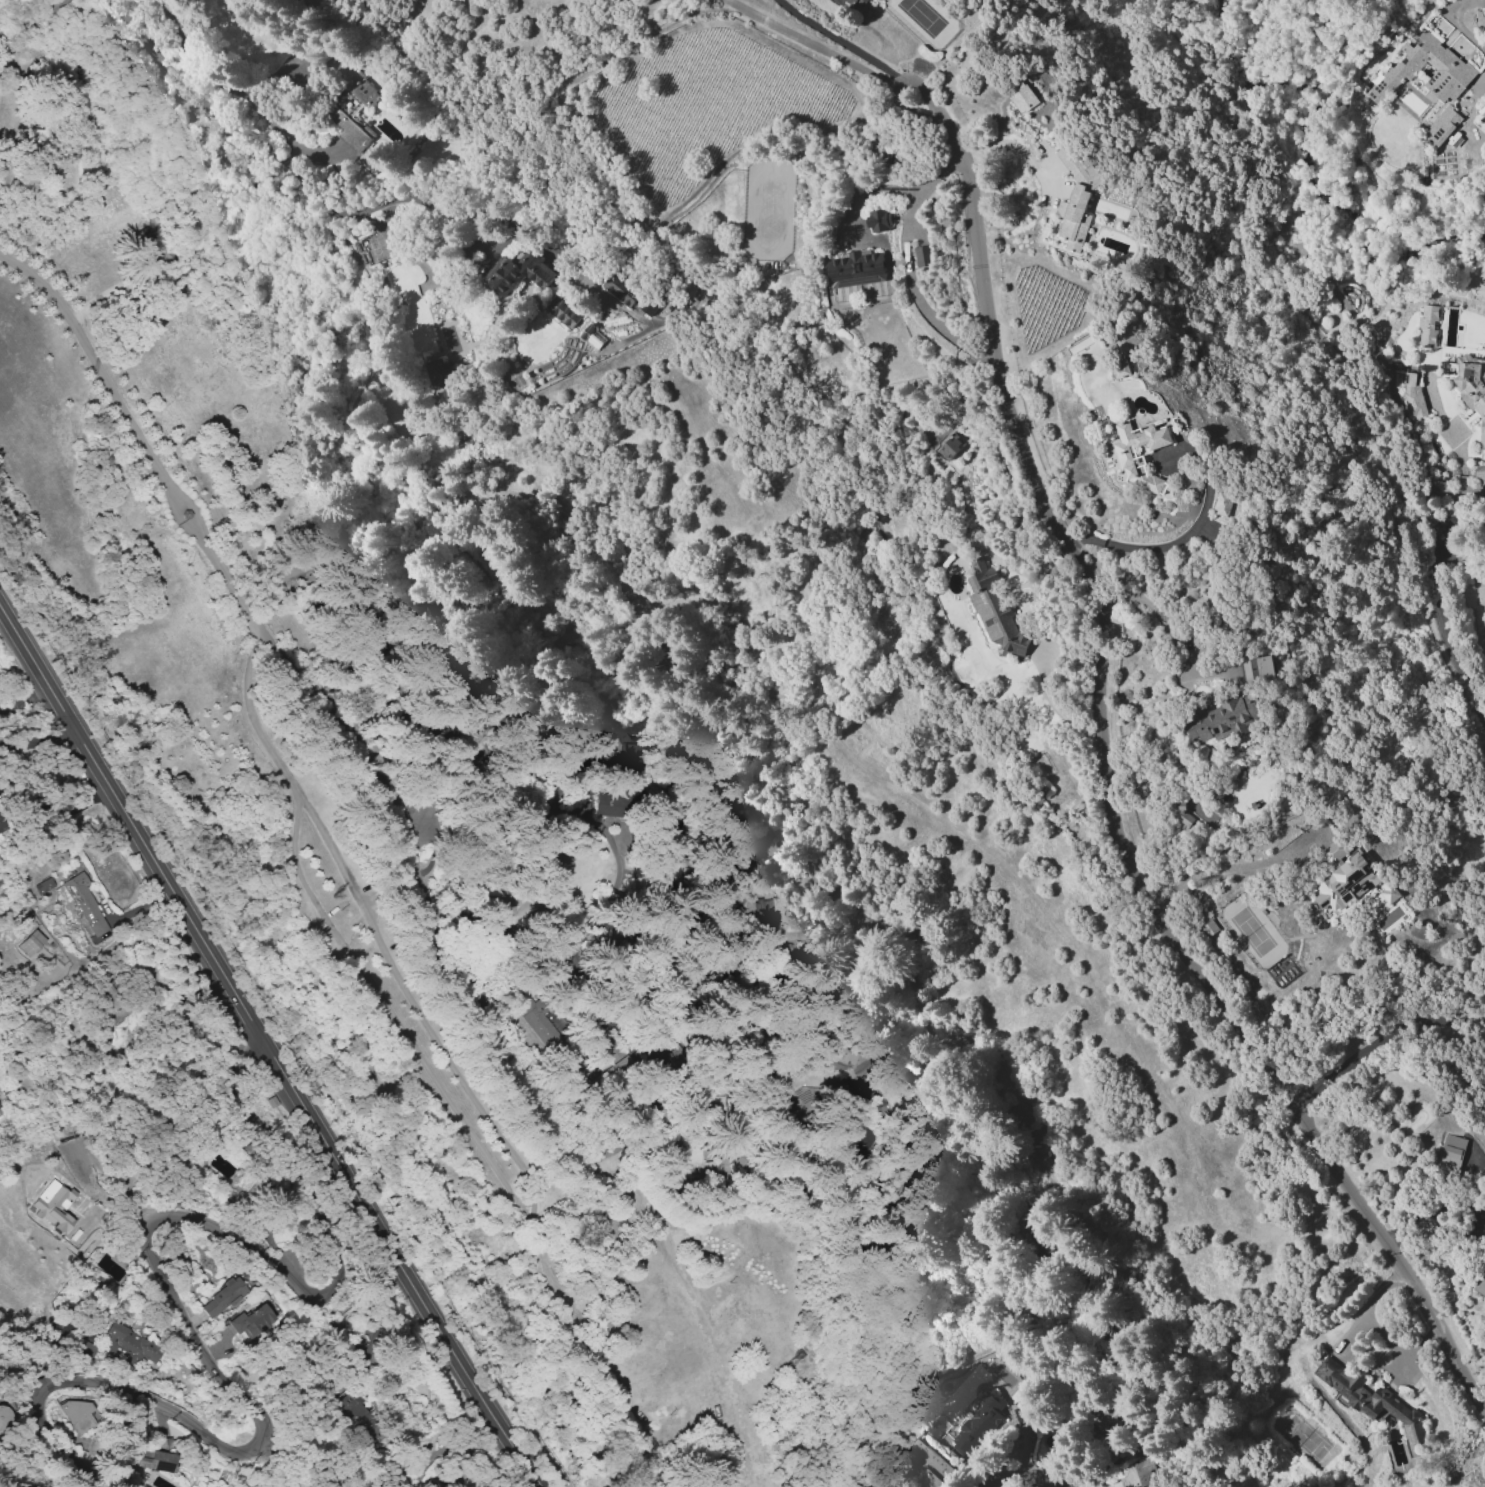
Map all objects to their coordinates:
building: (854, 3)
road: (33, 17)
road: (838, 39)
road: (809, 43)
building: (1447, 64)
road: (895, 81)
road: (538, 91)
building: (1022, 97)
building: (349, 102)
road: (203, 104)
building: (1481, 110)
building: (1441, 125)
road: (1010, 144)
building: (367, 157)
road: (407, 198)
building: (1076, 198)
building: (878, 220)
building: (146, 245)
building: (921, 256)
road: (906, 266)
building: (855, 269)
building: (518, 272)
road: (1277, 278)
building: (622, 291)
building: (563, 312)
building: (1427, 325)
building: (592, 337)
road: (96, 362)
building: (1120, 367)
building: (439, 373)
building: (1472, 389)
building: (1412, 395)
building: (949, 446)
building: (1130, 462)
road: (1461, 462)
building: (1479, 472)
road: (1472, 495)
building: (1222, 504)
road: (197, 529)
road: (1184, 538)
building: (994, 610)
road: (1156, 613)
road: (1451, 655)
building: (1256, 669)
road: (1056, 708)
building: (1222, 719)
road: (29, 738)
building: (615, 741)
road: (42, 748)
building: (610, 802)
road: (54, 806)
road: (1112, 809)
road: (126, 812)
building: (1181, 816)
building: (0, 830)
road: (407, 836)
building: (762, 846)
road: (1226, 867)
building: (1343, 877)
building: (44, 885)
building: (1389, 893)
building: (84, 902)
building: (765, 911)
building: (1205, 922)
building: (31, 942)
road: (164, 985)
building: (108, 1001)
road: (1378, 1037)
building: (605, 1044)
building: (842, 1056)
road: (493, 1127)
building: (1451, 1152)
building: (697, 1160)
building: (53, 1204)
road: (1430, 1212)
road: (394, 1255)
road: (276, 1263)
building: (1484, 1270)
building: (1480, 1286)
building: (222, 1297)
building: (250, 1322)
building: (129, 1343)
building: (84, 1348)
road: (1395, 1348)
road: (1305, 1366)
road: (119, 1387)
building: (1372, 1401)
building: (79, 1415)
building: (1104, 1415)
building: (5, 1416)
building: (1020, 1416)
building: (360, 1418)
building: (978, 1425)
building: (154, 1459)
building: (928, 1465)
building: (1137, 1473)
road: (1023, 1479)
building: (1316, 1486)

